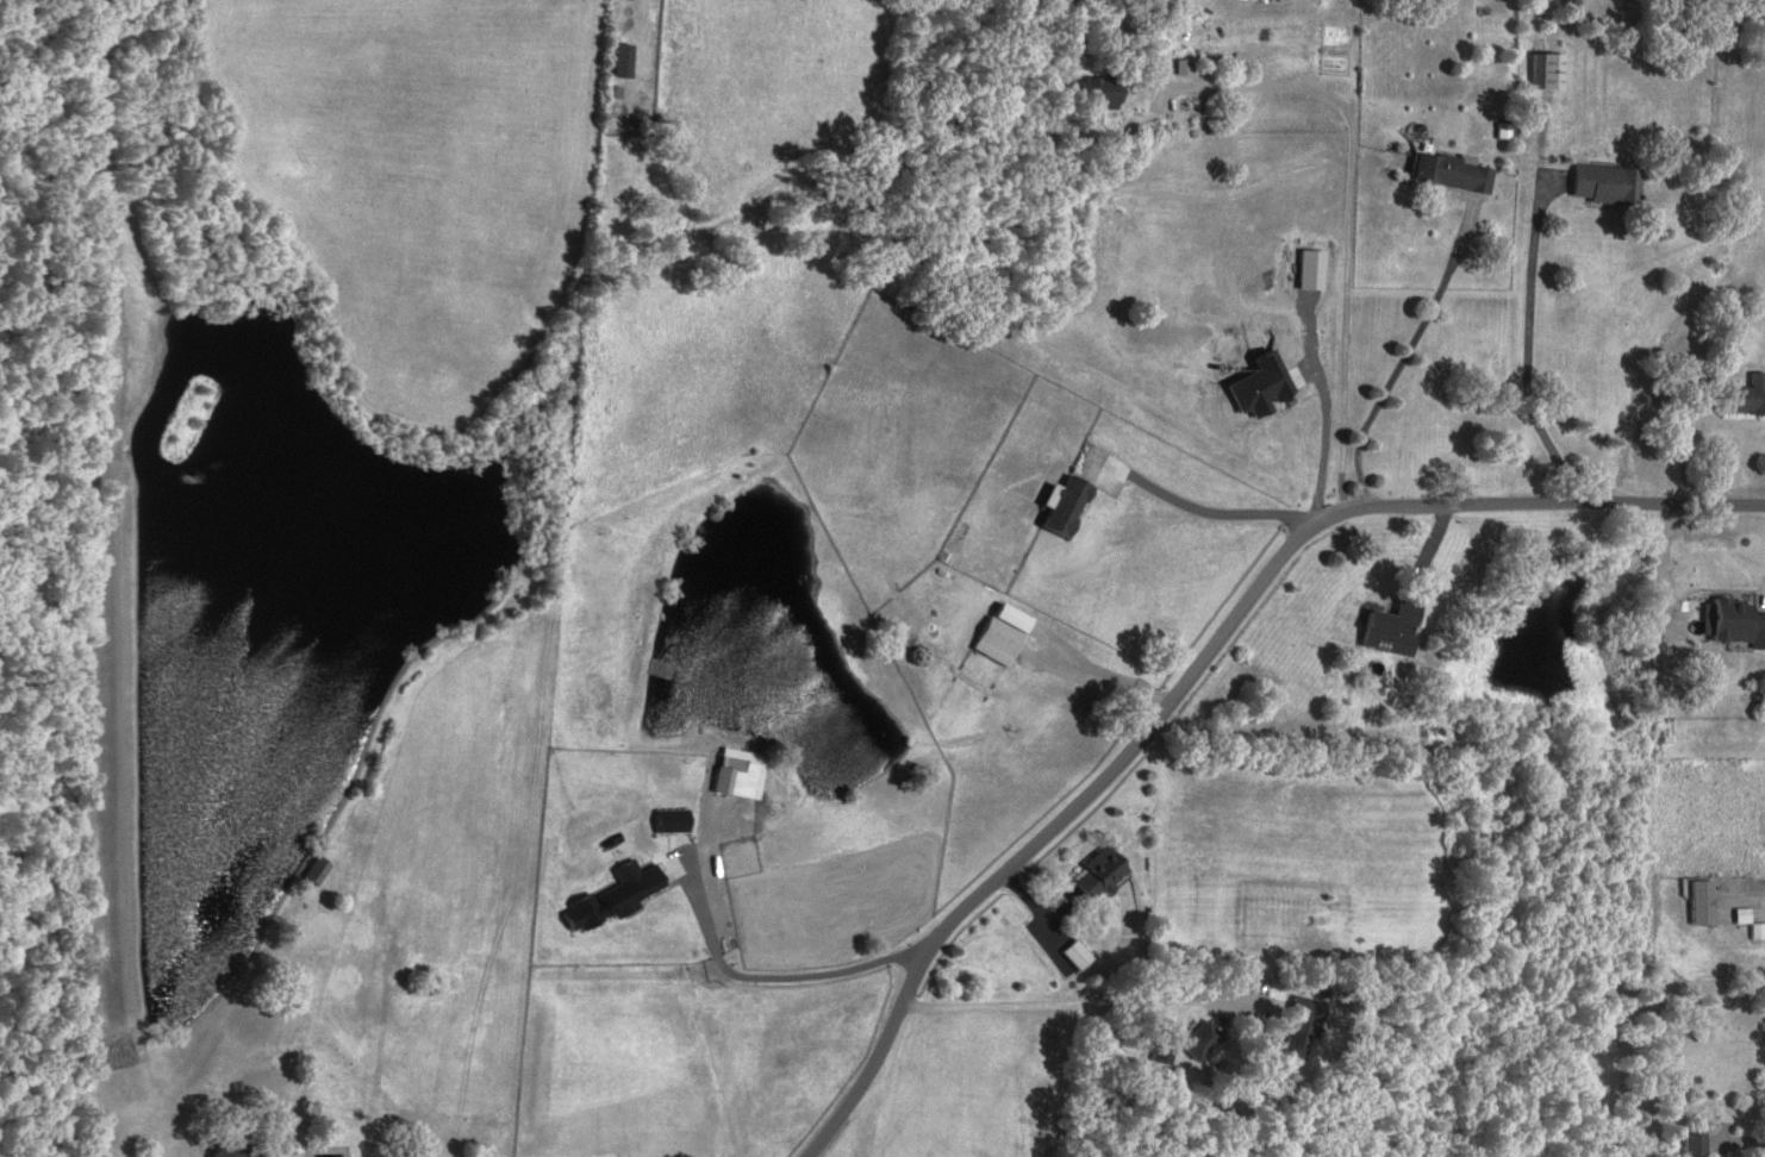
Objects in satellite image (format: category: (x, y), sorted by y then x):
building: (1547, 73)
building: (1092, 94)
building: (1453, 174)
building: (1605, 186)
road: (1347, 225)
road: (1529, 312)
road: (1395, 379)
building: (1745, 399)
building: (1066, 508)
road: (1222, 520)
road: (126, 581)
building: (1733, 623)
building: (1392, 630)
building: (997, 642)
road: (1200, 663)
road: (1092, 681)
road: (1632, 739)
building: (738, 777)
building: (671, 821)
building: (316, 870)
building: (1100, 873)
building: (615, 896)
building: (1701, 901)
building: (1075, 956)
road: (780, 982)
road: (1080, 1006)
building: (1302, 1028)
building: (1200, 1042)
building: (1694, 1145)
building: (235, 1149)

